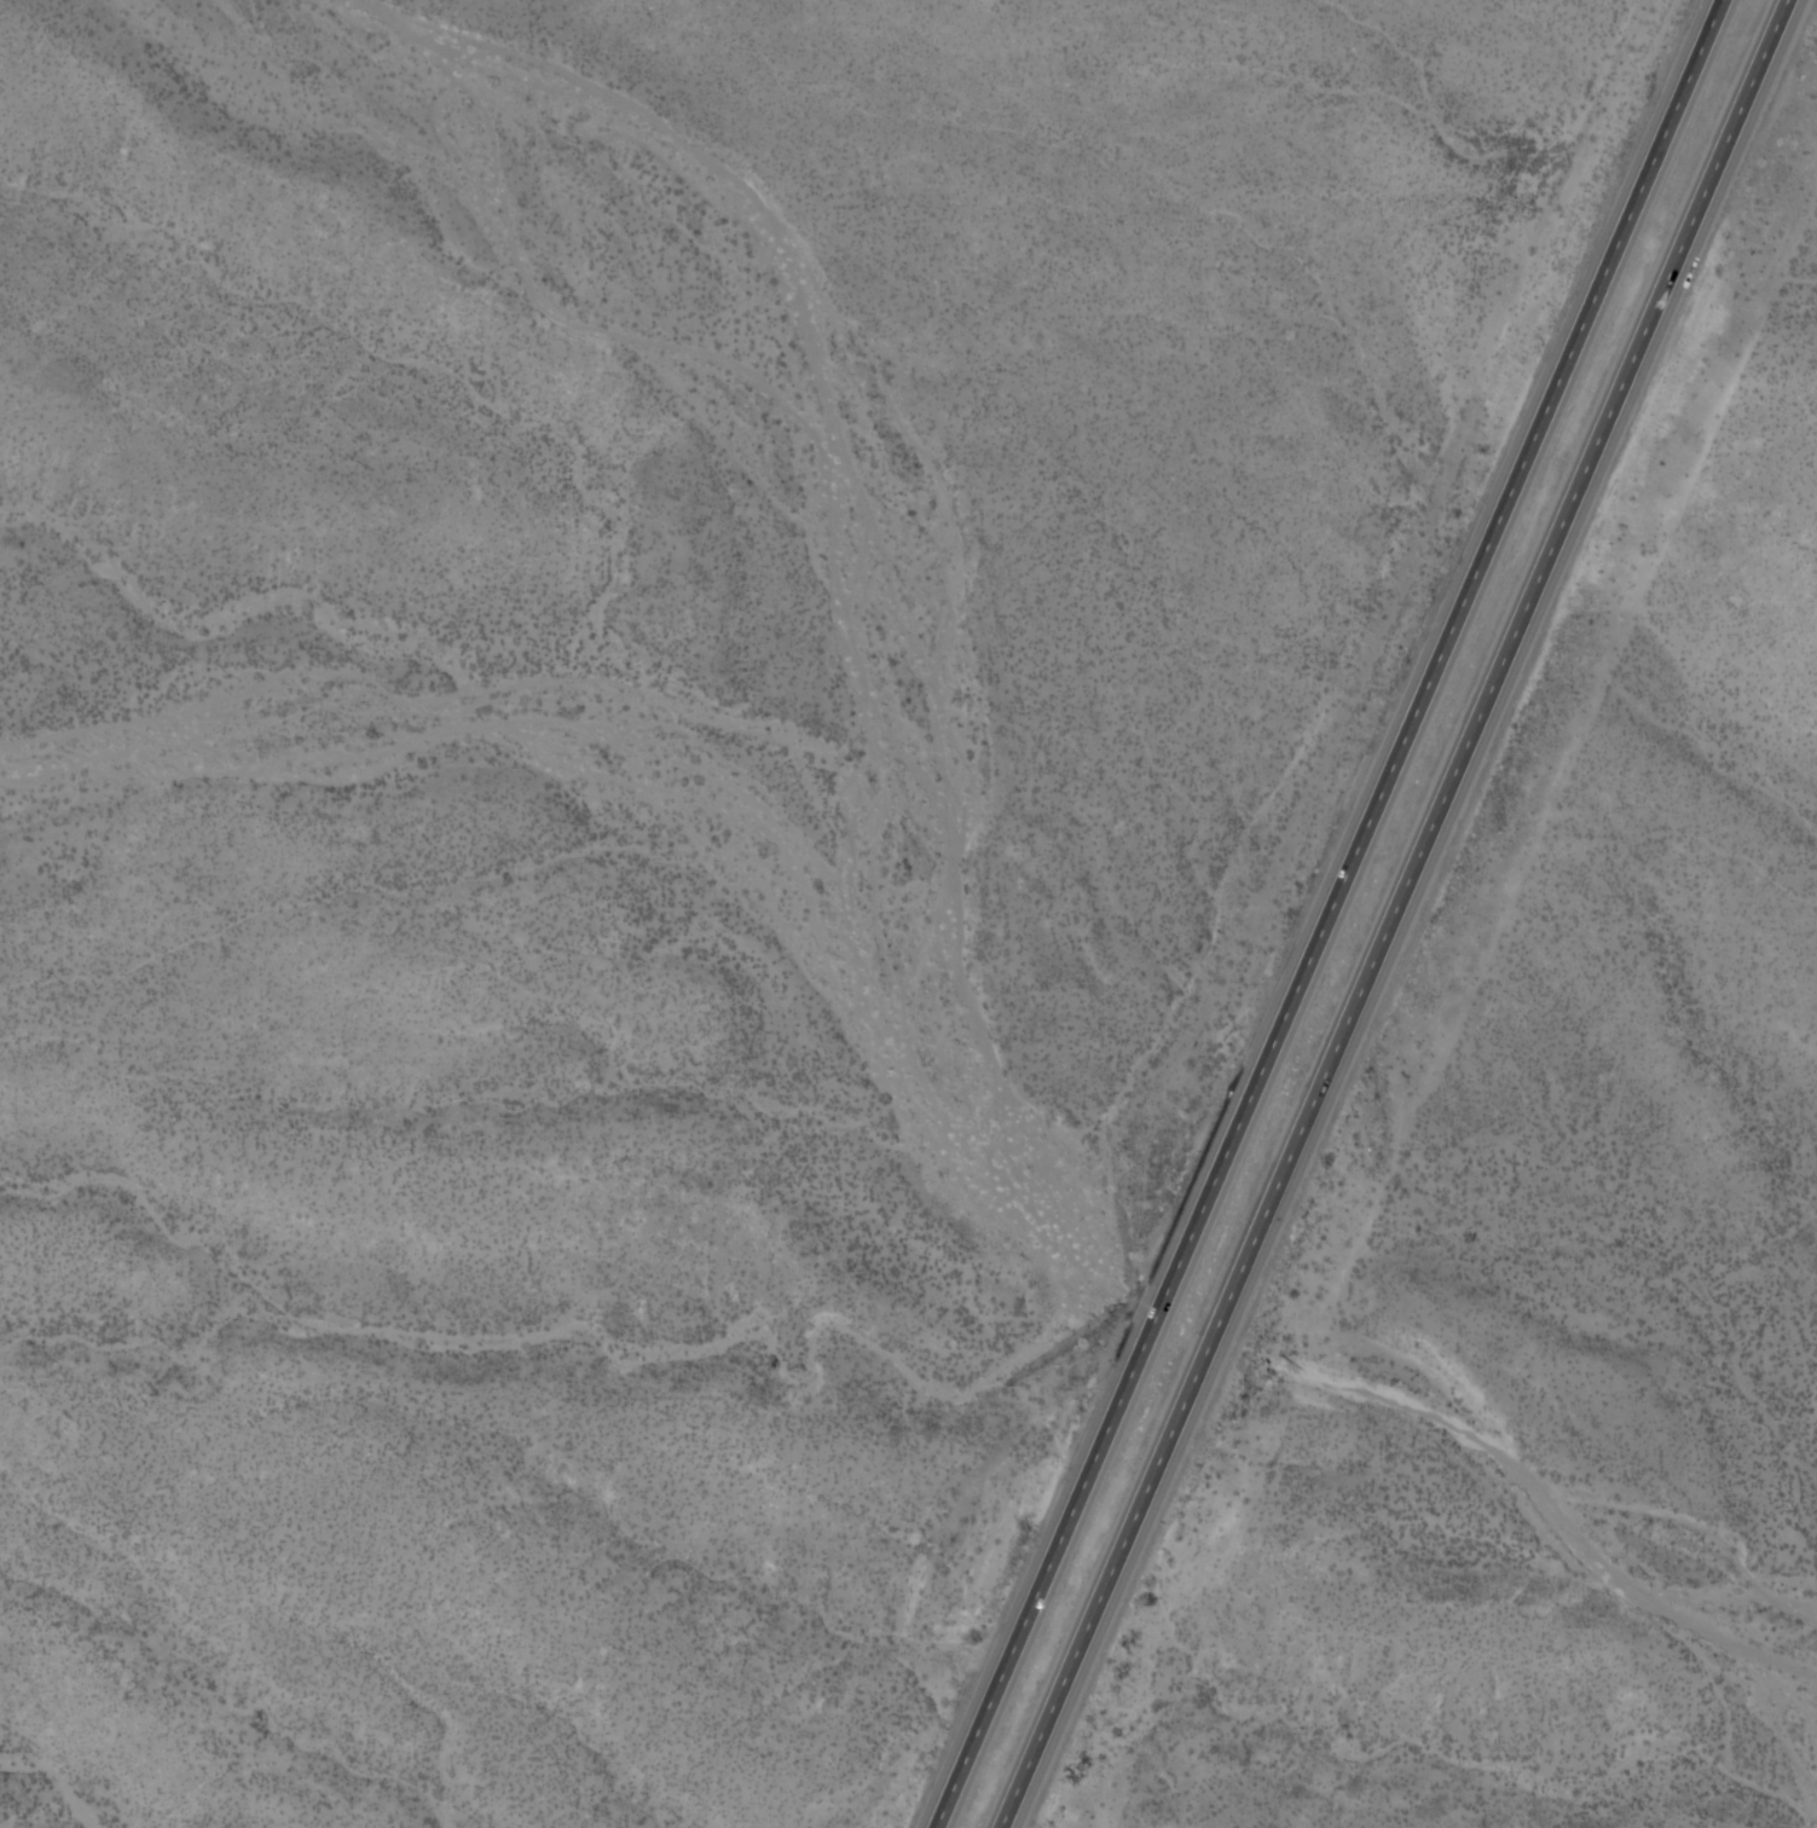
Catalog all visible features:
road: (1327, 914)
road: (1393, 914)

